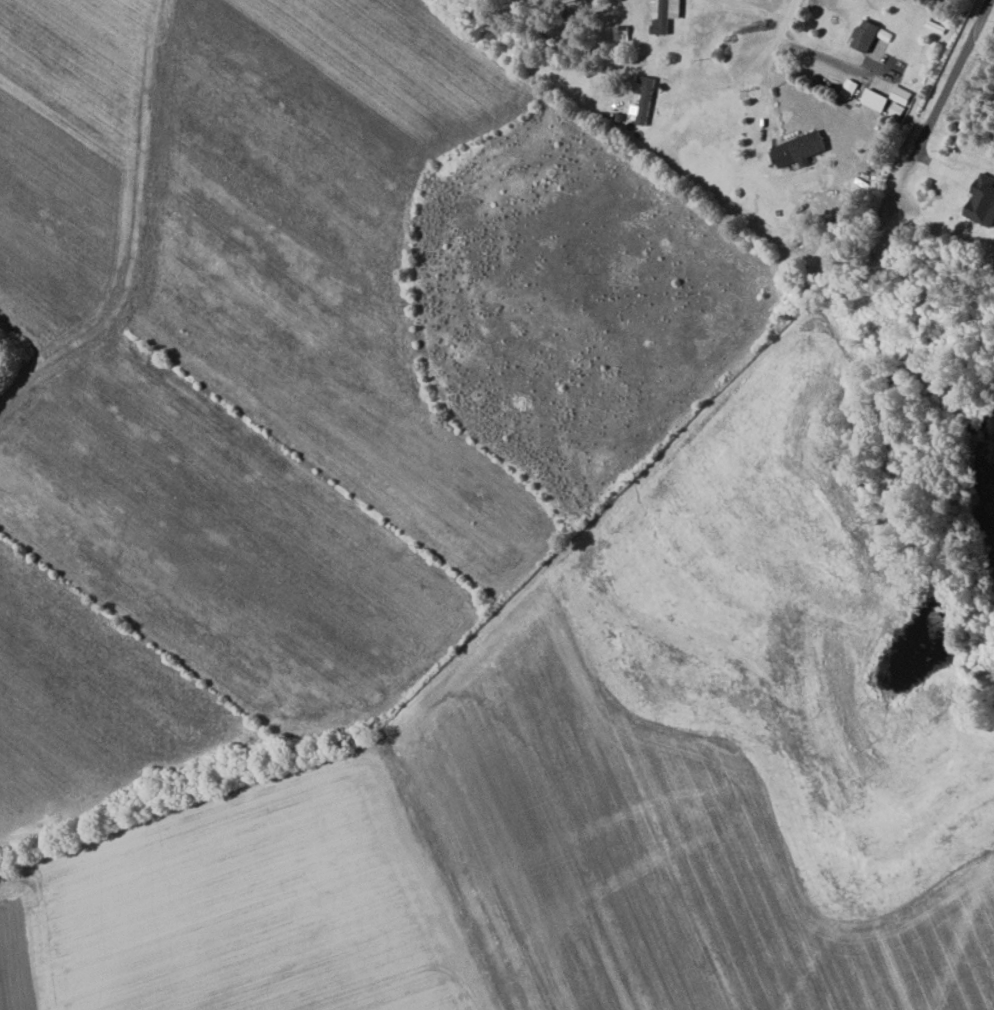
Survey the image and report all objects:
building: (666, 15)
building: (867, 35)
road: (981, 49)
road: (769, 52)
road: (953, 76)
building: (646, 99)
building: (889, 100)
building: (802, 149)
building: (983, 201)

